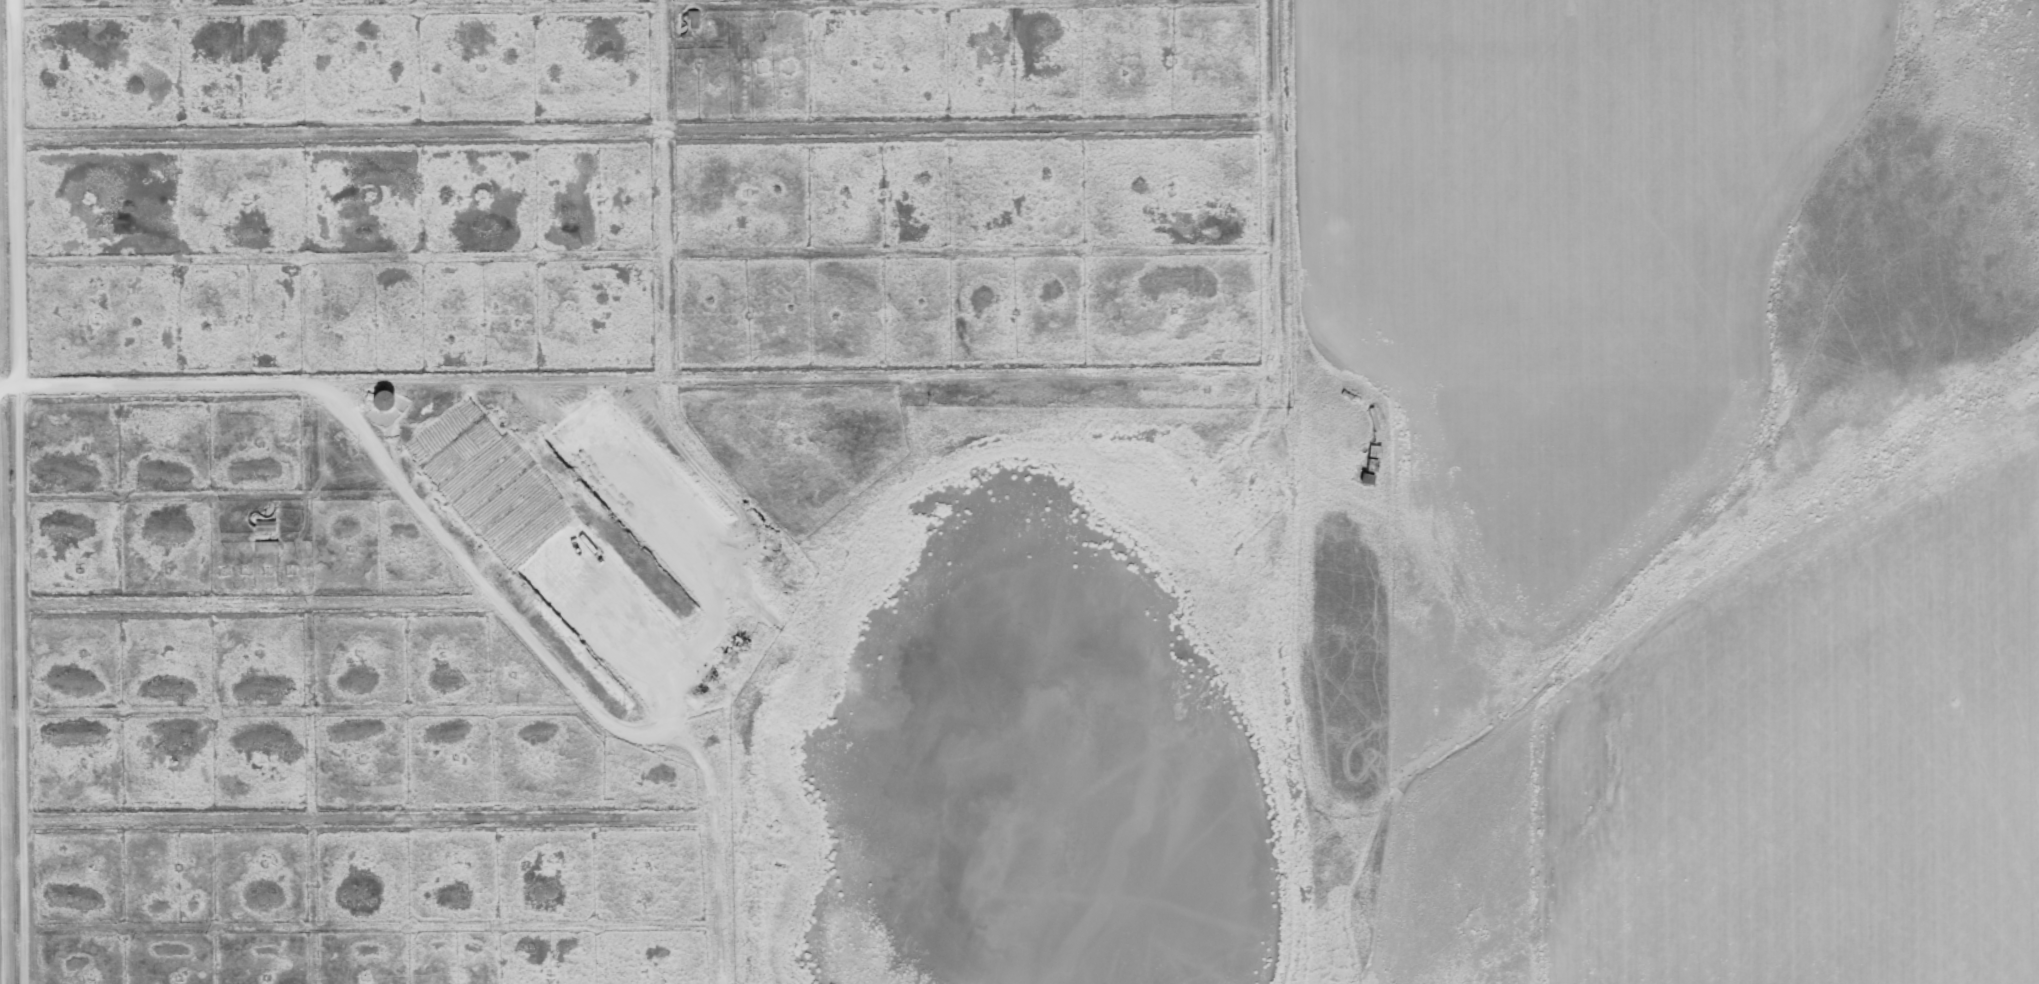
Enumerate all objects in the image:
road: (983, 377)
road: (19, 491)
road: (409, 492)
road: (750, 498)
road: (1364, 675)
road: (367, 800)

